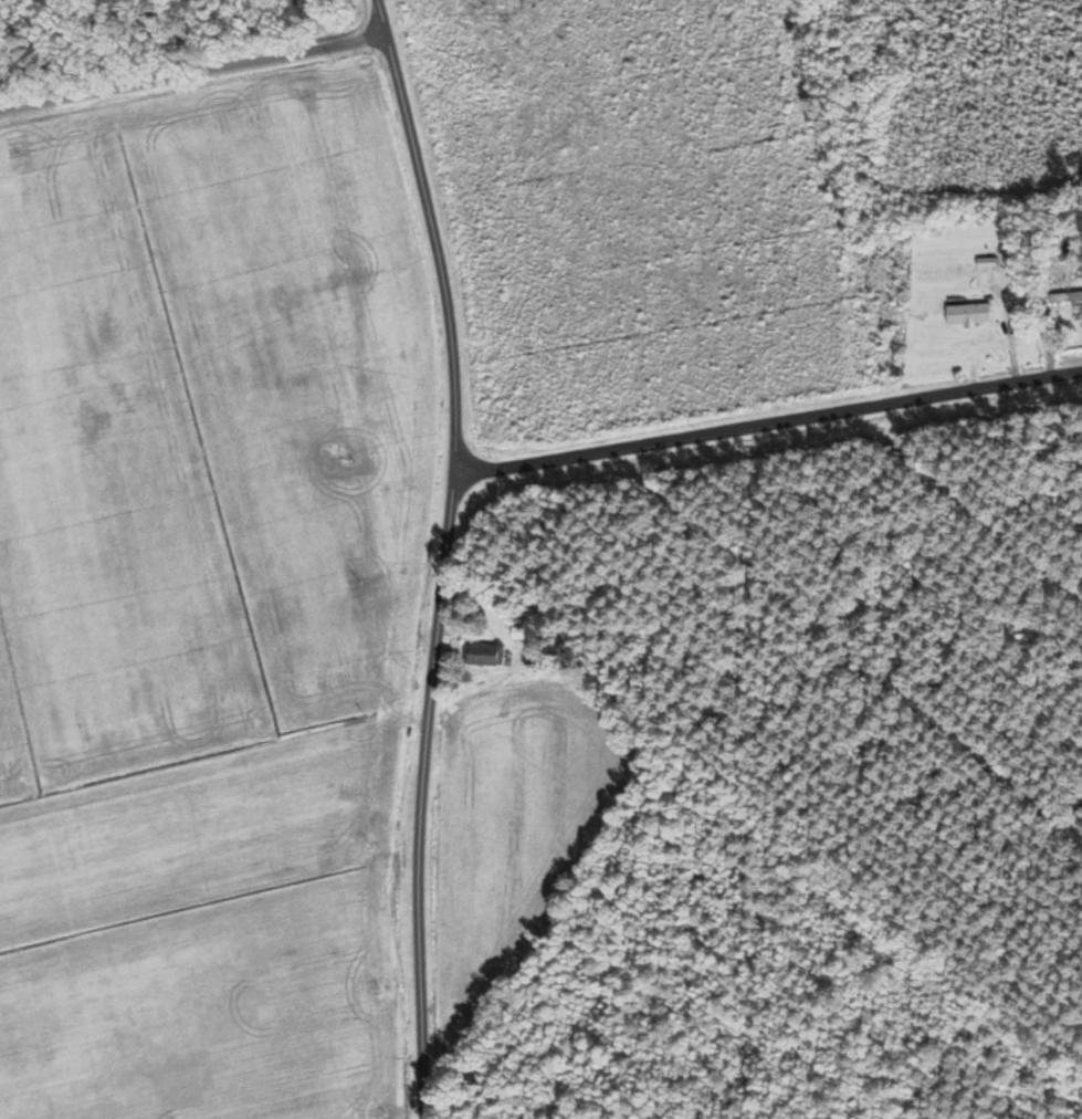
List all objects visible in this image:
road: (192, 80)
building: (1065, 296)
building: (975, 316)
road: (764, 426)
road: (444, 556)
building: (487, 653)

